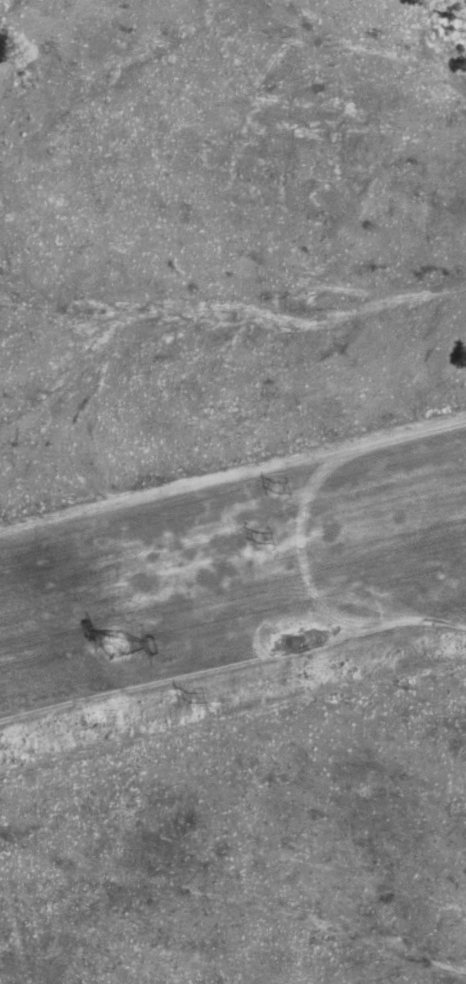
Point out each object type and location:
power tower: (280, 488)
power tower: (266, 537)
power tower: (119, 644)
power tower: (191, 696)

